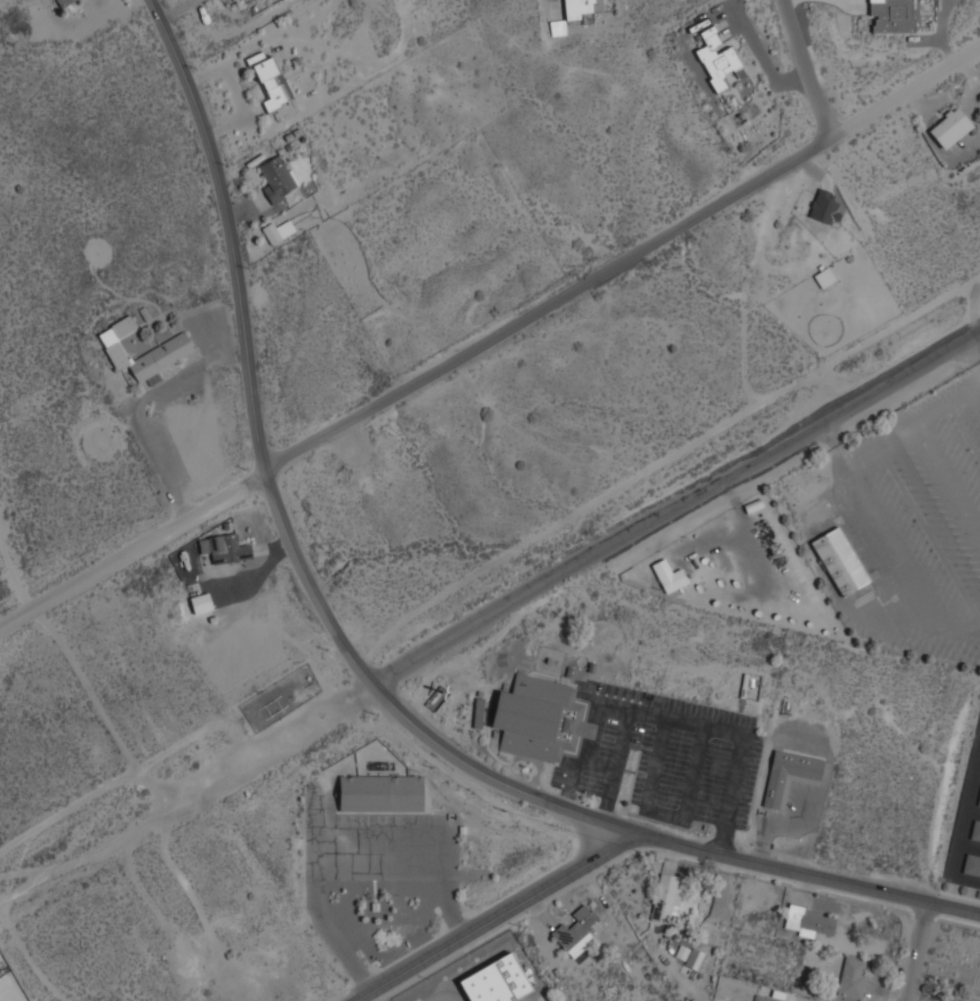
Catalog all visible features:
building: (63, 2)
building: (583, 8)
building: (893, 16)
building: (718, 59)
road: (807, 69)
building: (272, 80)
building: (951, 127)
building: (279, 179)
building: (823, 206)
building: (280, 230)
road: (622, 262)
building: (824, 277)
building: (175, 344)
road: (676, 508)
building: (813, 508)
building: (226, 547)
road: (131, 550)
building: (841, 560)
road: (11, 574)
building: (674, 579)
building: (201, 602)
road: (351, 657)
building: (541, 718)
building: (790, 774)
road: (186, 793)
building: (382, 793)
building: (979, 803)
building: (979, 808)
building: (976, 834)
building: (972, 867)
building: (667, 897)
building: (810, 920)
road: (494, 921)
building: (577, 928)
road: (917, 951)
building: (696, 958)
building: (854, 977)
building: (497, 981)
building: (765, 998)
building: (953, 998)

